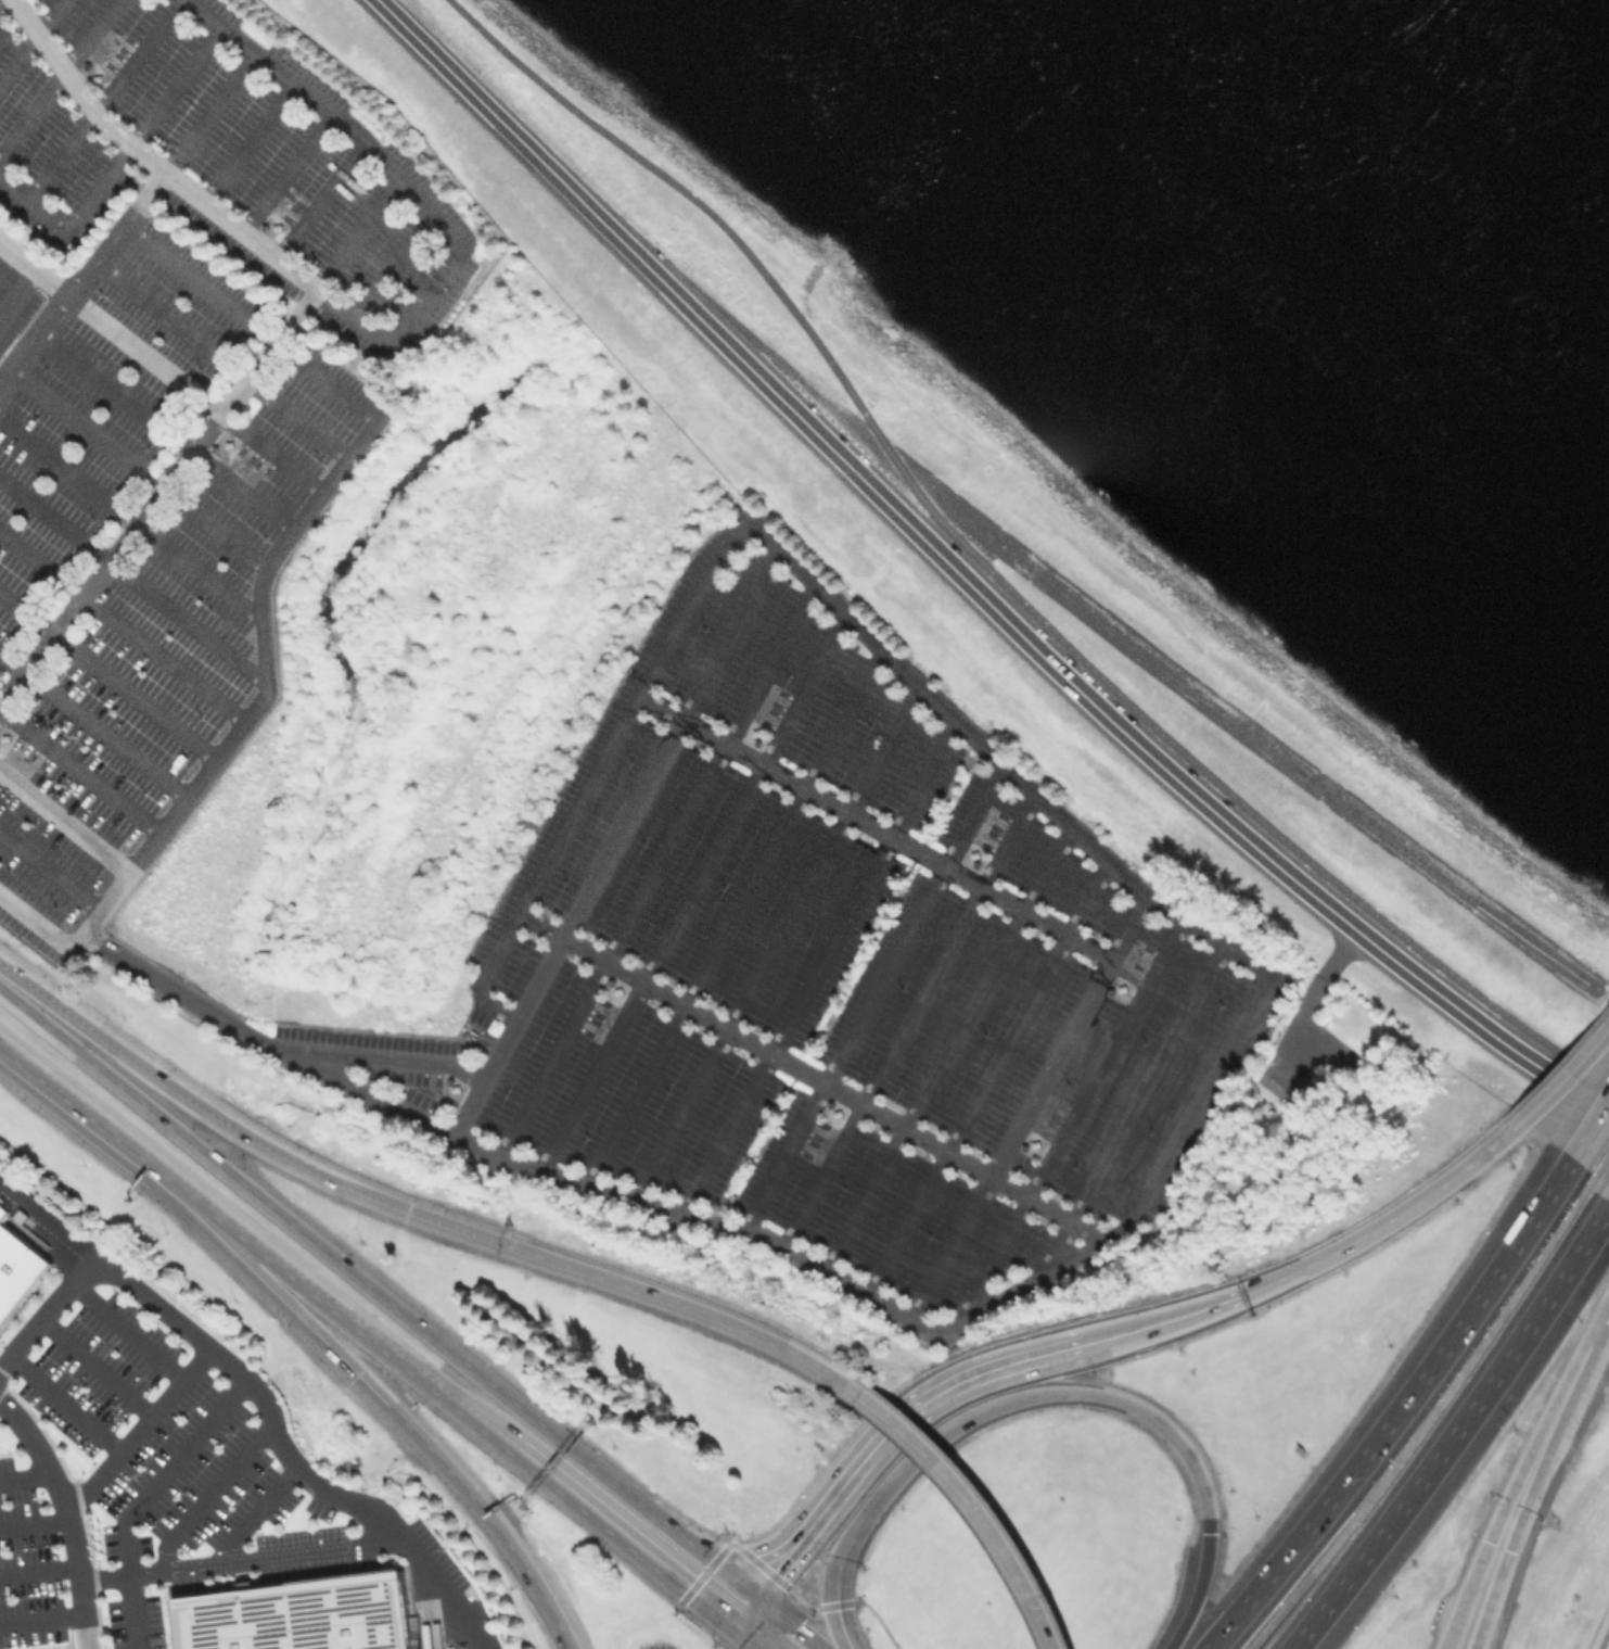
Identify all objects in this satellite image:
road: (0, 0)
road: (30, 40)
road: (58, 76)
building: (95, 78)
road: (77, 92)
road: (103, 100)
road: (208, 112)
road: (248, 142)
road: (116, 162)
road: (284, 173)
road: (319, 201)
building: (274, 227)
road: (354, 232)
road: (446, 259)
road: (90, 263)
road: (386, 267)
road: (644, 271)
road: (15, 289)
road: (358, 301)
road: (31, 333)
road: (220, 357)
road: (192, 391)
road: (164, 427)
building: (228, 442)
road: (881, 447)
road: (133, 467)
road: (157, 496)
road: (129, 517)
road: (283, 537)
road: (995, 576)
road: (131, 580)
road: (120, 627)
road: (728, 634)
parking lot: (138, 652)
road: (106, 676)
road: (91, 726)
building: (754, 733)
building: (3, 736)
road: (999, 759)
road: (78, 771)
road: (596, 772)
road: (1312, 777)
road: (64, 820)
road: (873, 827)
road: (1250, 843)
building: (972, 854)
road: (654, 870)
road: (49, 871)
road: (690, 891)
road: (580, 900)
road: (733, 916)
road: (1126, 927)
road: (776, 940)
road: (816, 963)
road: (136, 965)
building: (1120, 988)
building: (616, 990)
road: (1319, 992)
road: (871, 995)
road: (907, 1019)
road: (100, 1039)
road: (946, 1050)
road: (378, 1055)
road: (1566, 1065)
road: (1050, 1067)
road: (806, 1074)
road: (986, 1079)
road: (1146, 1082)
building: (1305, 1086)
building: (452, 1088)
road: (467, 1108)
road: (1186, 1111)
building: (834, 1114)
road: (1069, 1120)
road: (1592, 1133)
building: (1033, 1144)
road: (132, 1150)
road: (1600, 1159)
road: (1607, 1194)
building: (2, 1212)
road: (48, 1215)
road: (697, 1217)
road: (510, 1247)
road: (949, 1248)
road: (1055, 1248)
road: (1317, 1260)
building: (16, 1270)
road: (378, 1293)
road: (305, 1306)
road: (47, 1307)
road: (1597, 1315)
road: (125, 1329)
road: (388, 1350)
road: (92, 1365)
road: (368, 1383)
road: (1414, 1394)
road: (62, 1401)
road: (1128, 1403)
road: (1427, 1417)
road: (137, 1425)
road: (1452, 1428)
road: (890, 1429)
road: (1534, 1438)
road: (1546, 1444)
parking lot: (176, 1446)
road: (285, 1451)
road: (25, 1474)
road: (963, 1492)
road: (206, 1495)
road: (139, 1496)
road: (253, 1511)
road: (67, 1515)
road: (489, 1520)
road: (34, 1523)
traffic signals: (1208, 1532)
road: (851, 1536)
road: (627, 1542)
traffic signals: (1487, 1542)
traffic signals: (1508, 1550)
road: (1505, 1557)
road: (238, 1561)
parking lot: (28, 1563)
road: (763, 1569)
road: (37, 1570)
traffic signals: (776, 1570)
traffic signals: (682, 1586)
road: (1466, 1595)
road: (1487, 1607)
traffic signals: (835, 1609)
road: (751, 1614)
building: (297, 1615)
road: (40, 1618)
road: (1185, 1620)
road: (880, 1621)
parking lot: (133, 1622)
road: (791, 1622)
traffic signals: (796, 1626)
road: (1225, 1634)
road: (1604, 1638)
road: (753, 1640)
road: (59, 1646)

